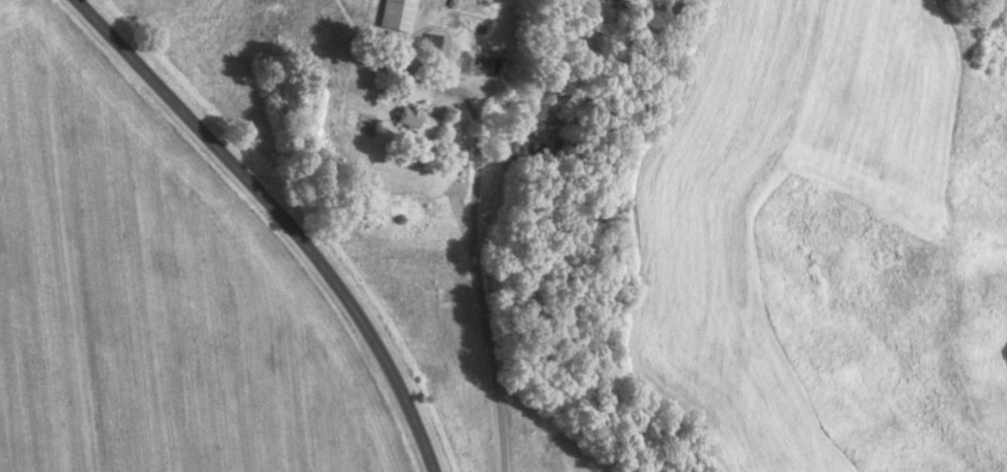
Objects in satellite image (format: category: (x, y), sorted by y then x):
building: (469, 7)
building: (394, 15)
building: (473, 66)
building: (404, 116)
road: (282, 216)
road: (477, 253)

